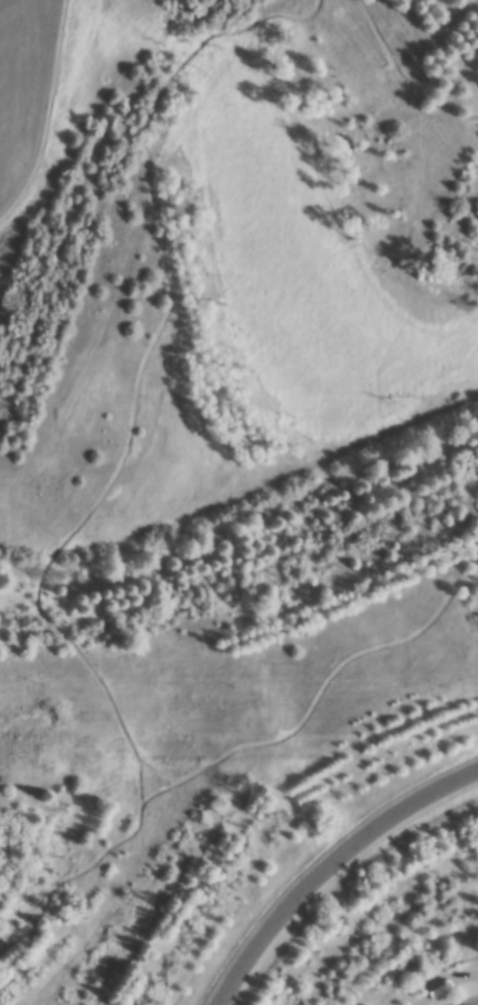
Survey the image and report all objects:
road: (24, 10)
road: (20, 75)
road: (401, 77)
parking lot: (25, 88)
road: (35, 106)
road: (15, 150)
road: (144, 370)
park: (239, 502)
road: (224, 757)
road: (156, 779)
road: (329, 865)
road: (475, 1004)

